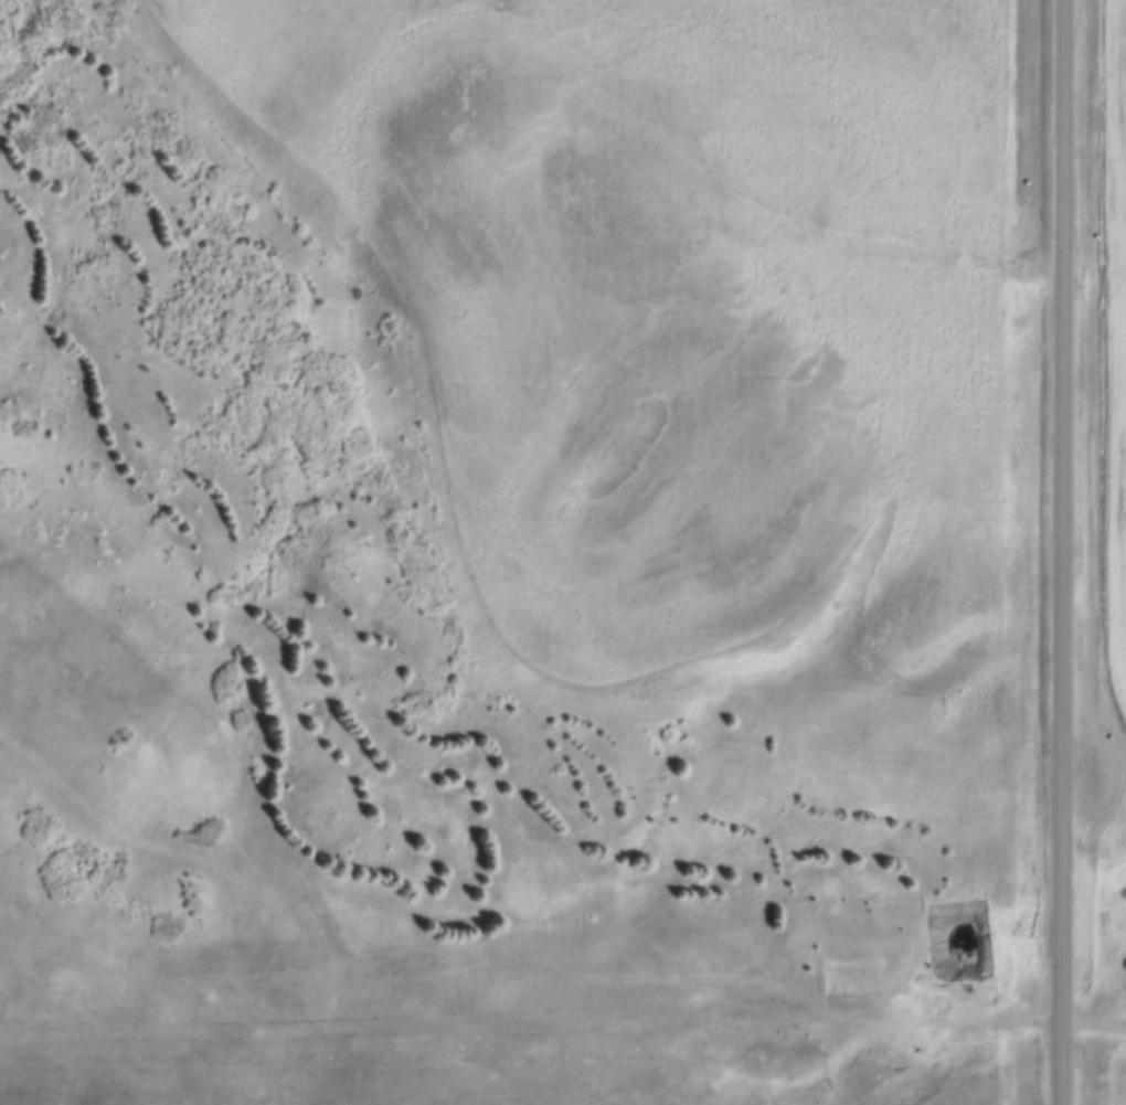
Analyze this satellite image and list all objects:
road: (1059, 552)
road: (563, 1020)

